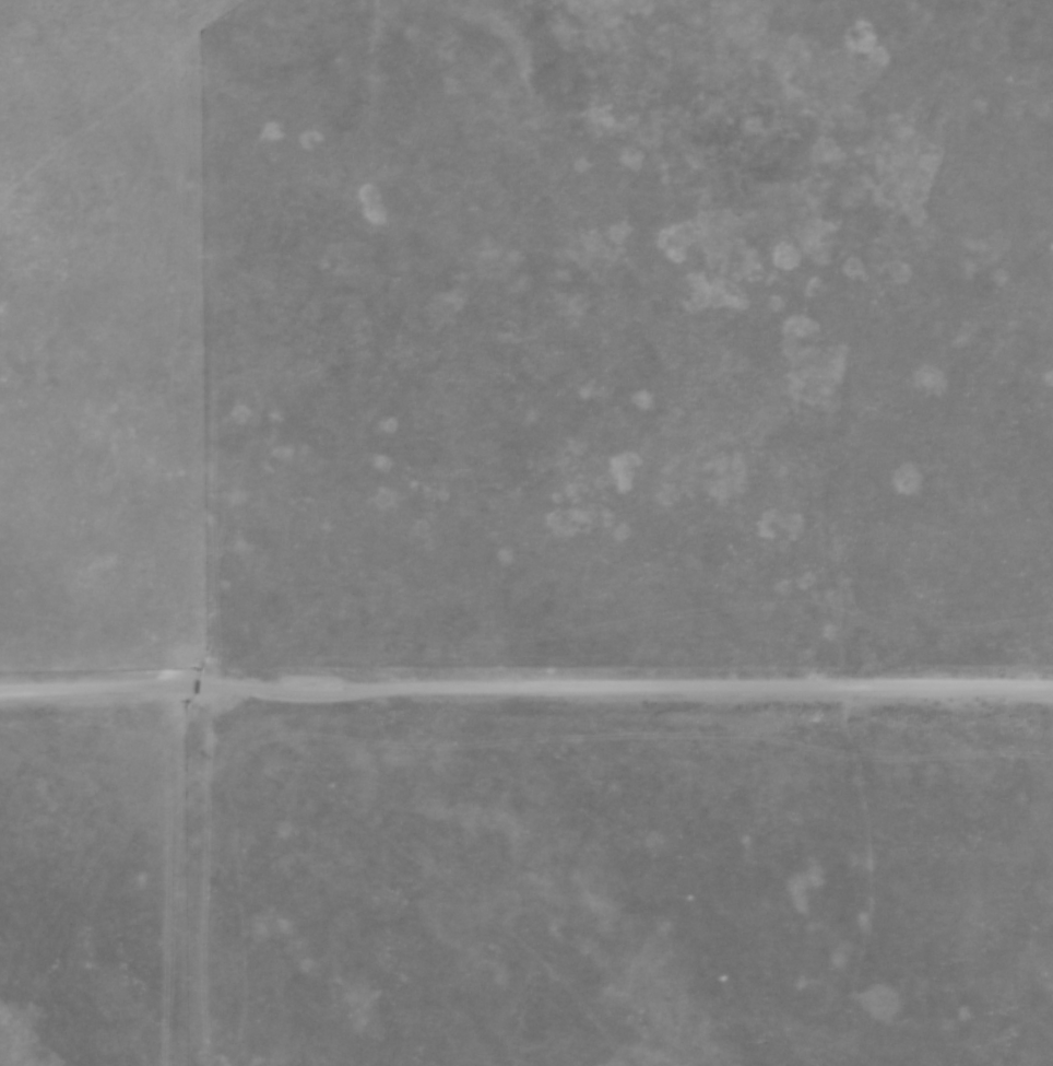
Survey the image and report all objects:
road: (525, 684)

